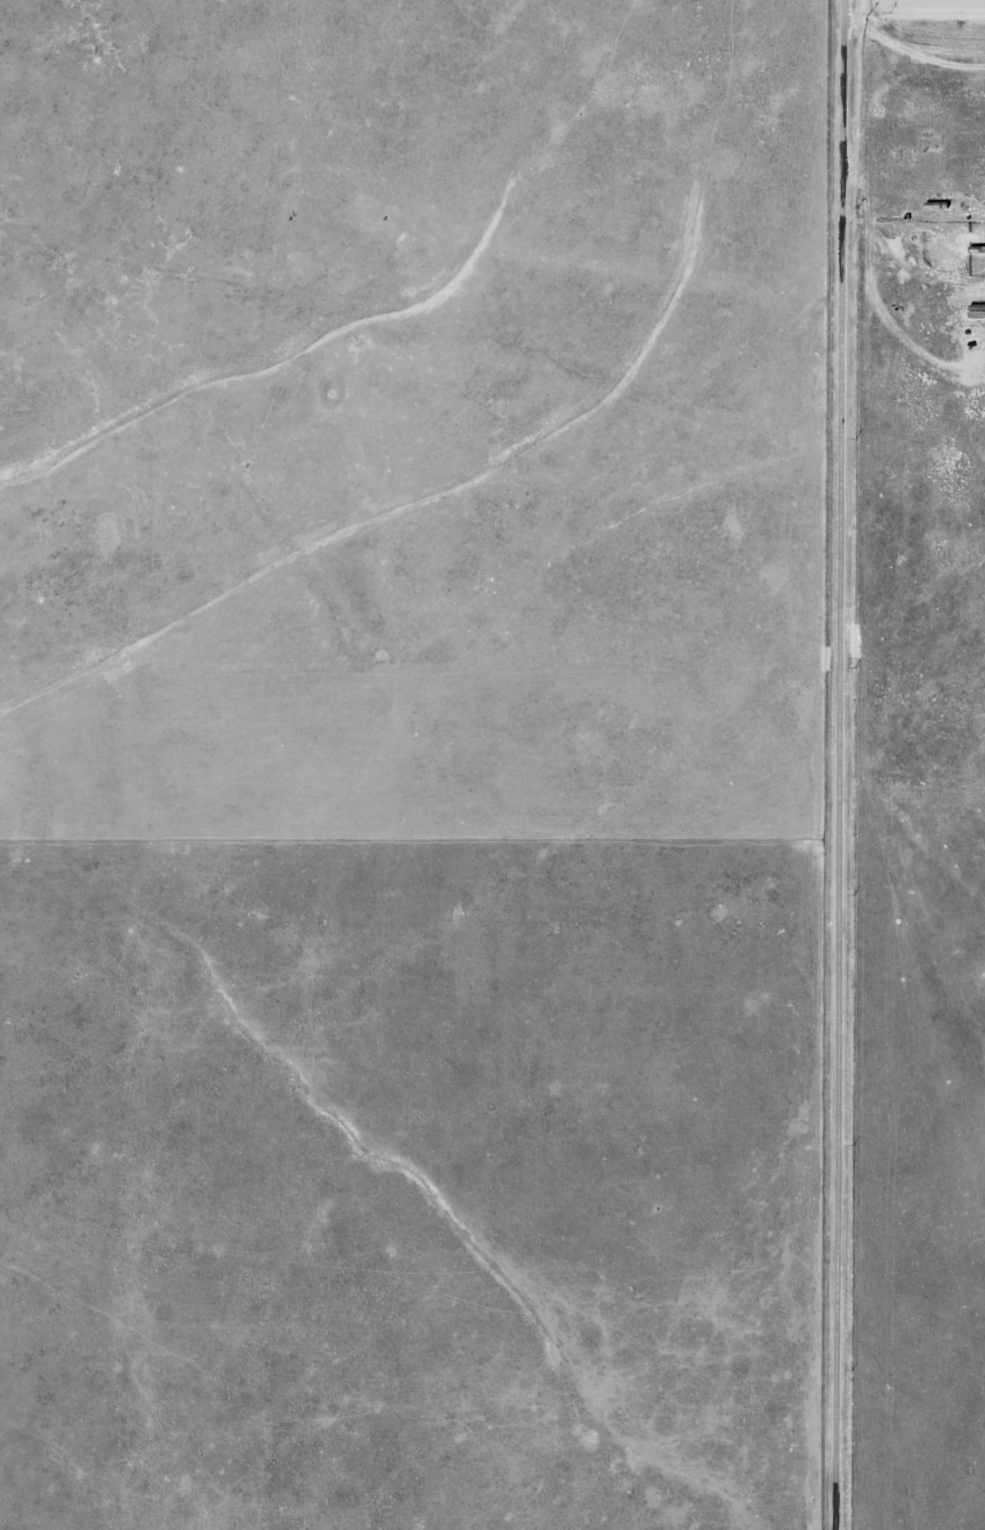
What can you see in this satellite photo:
road: (843, 764)

